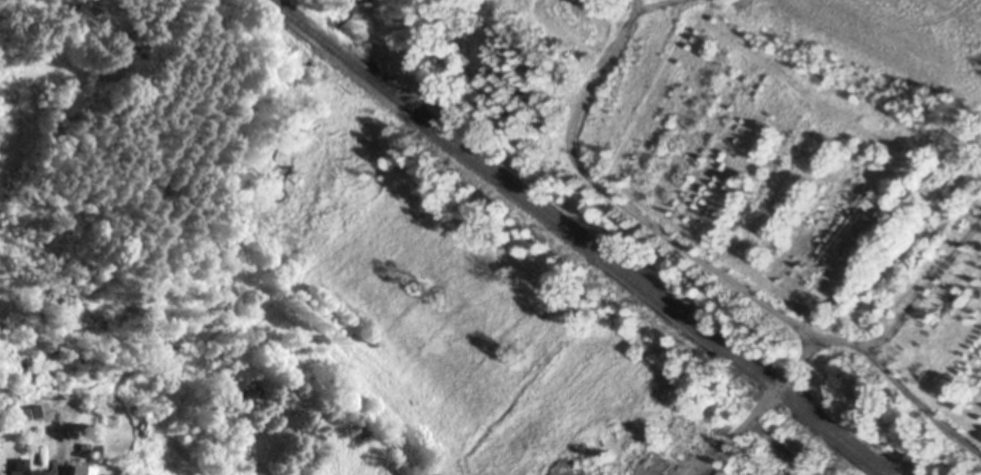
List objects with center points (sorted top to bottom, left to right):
railway: (577, 236)
building: (28, 407)
road: (761, 409)
building: (20, 466)
building: (78, 466)
building: (104, 469)

